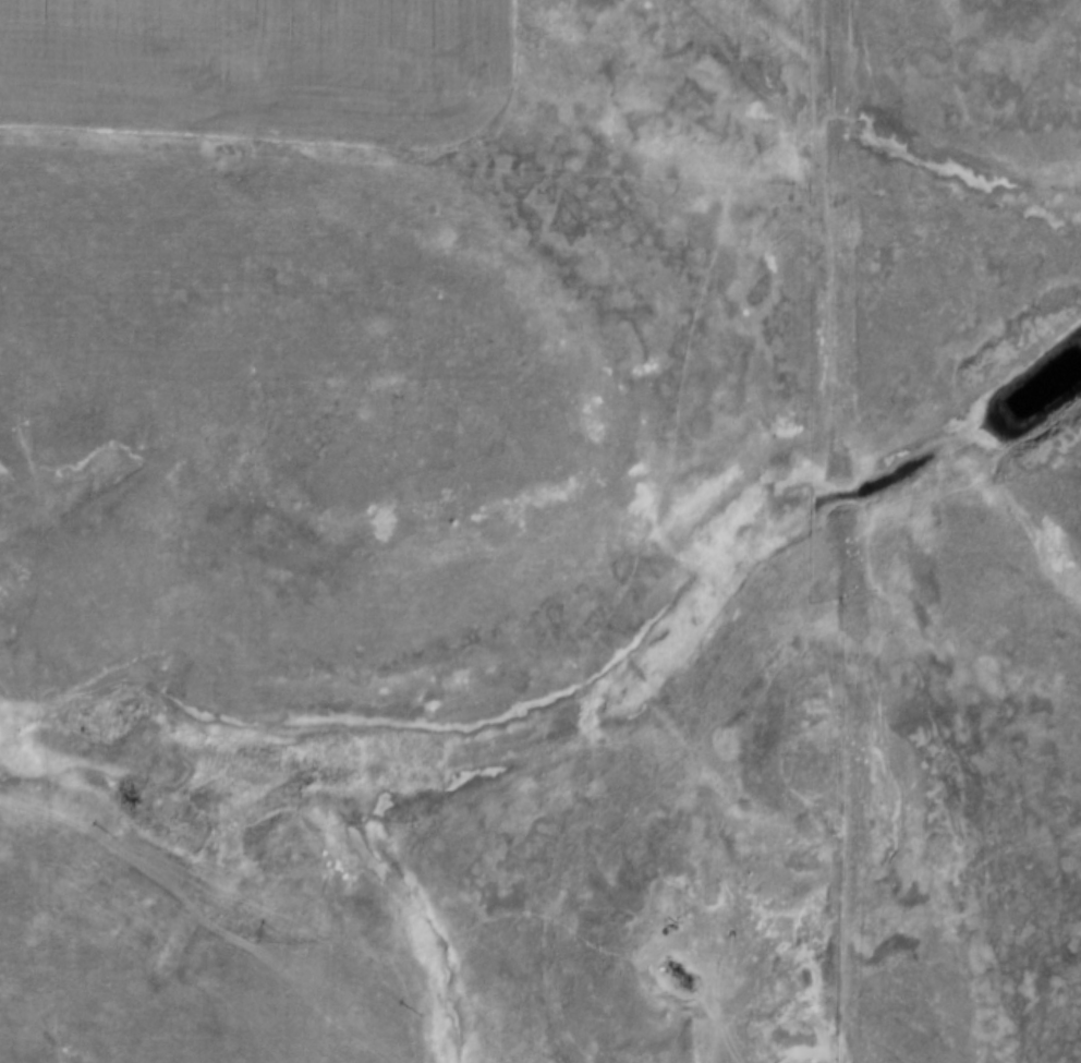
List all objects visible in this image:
road: (196, 917)

